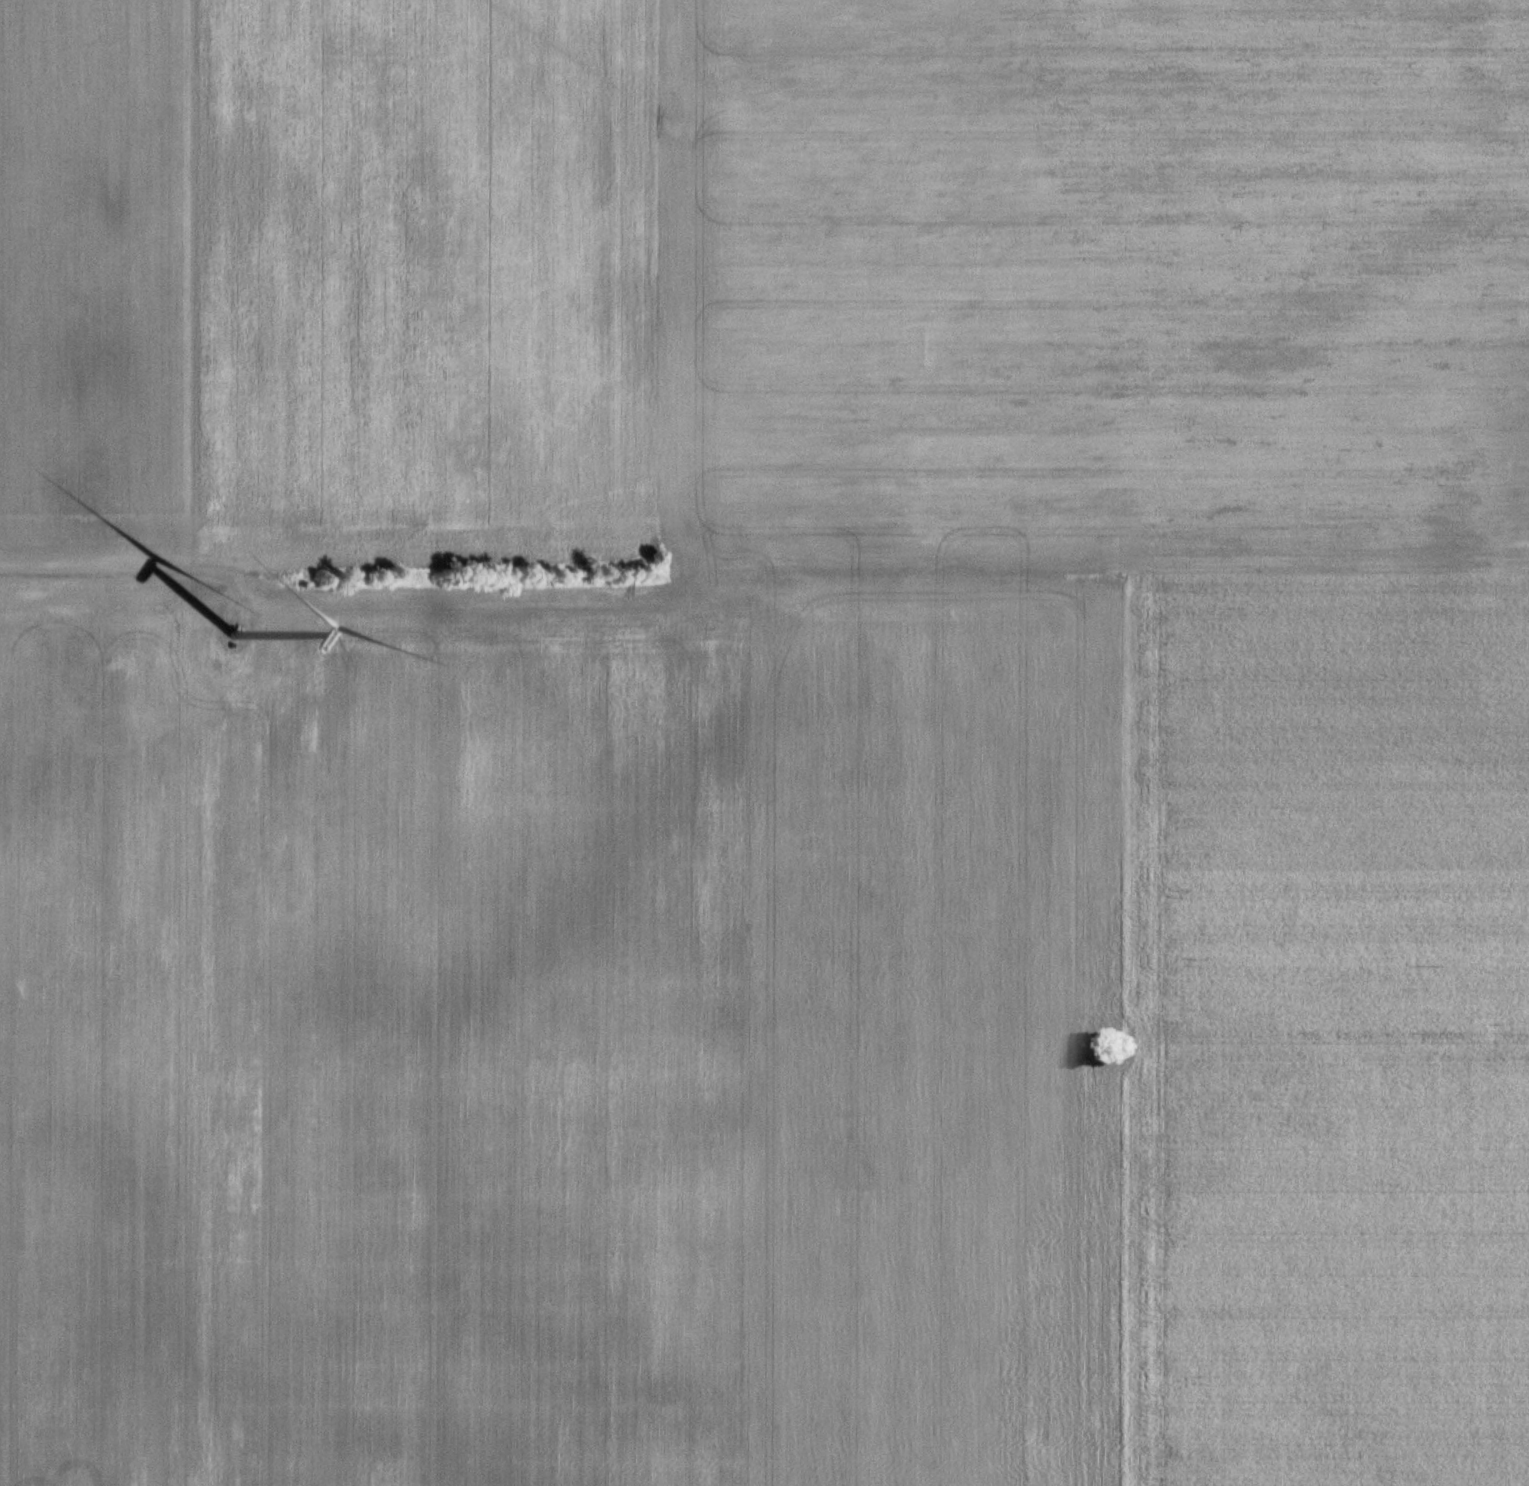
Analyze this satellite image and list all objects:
road: (127, 571)
wind turbine: (157, 642)

